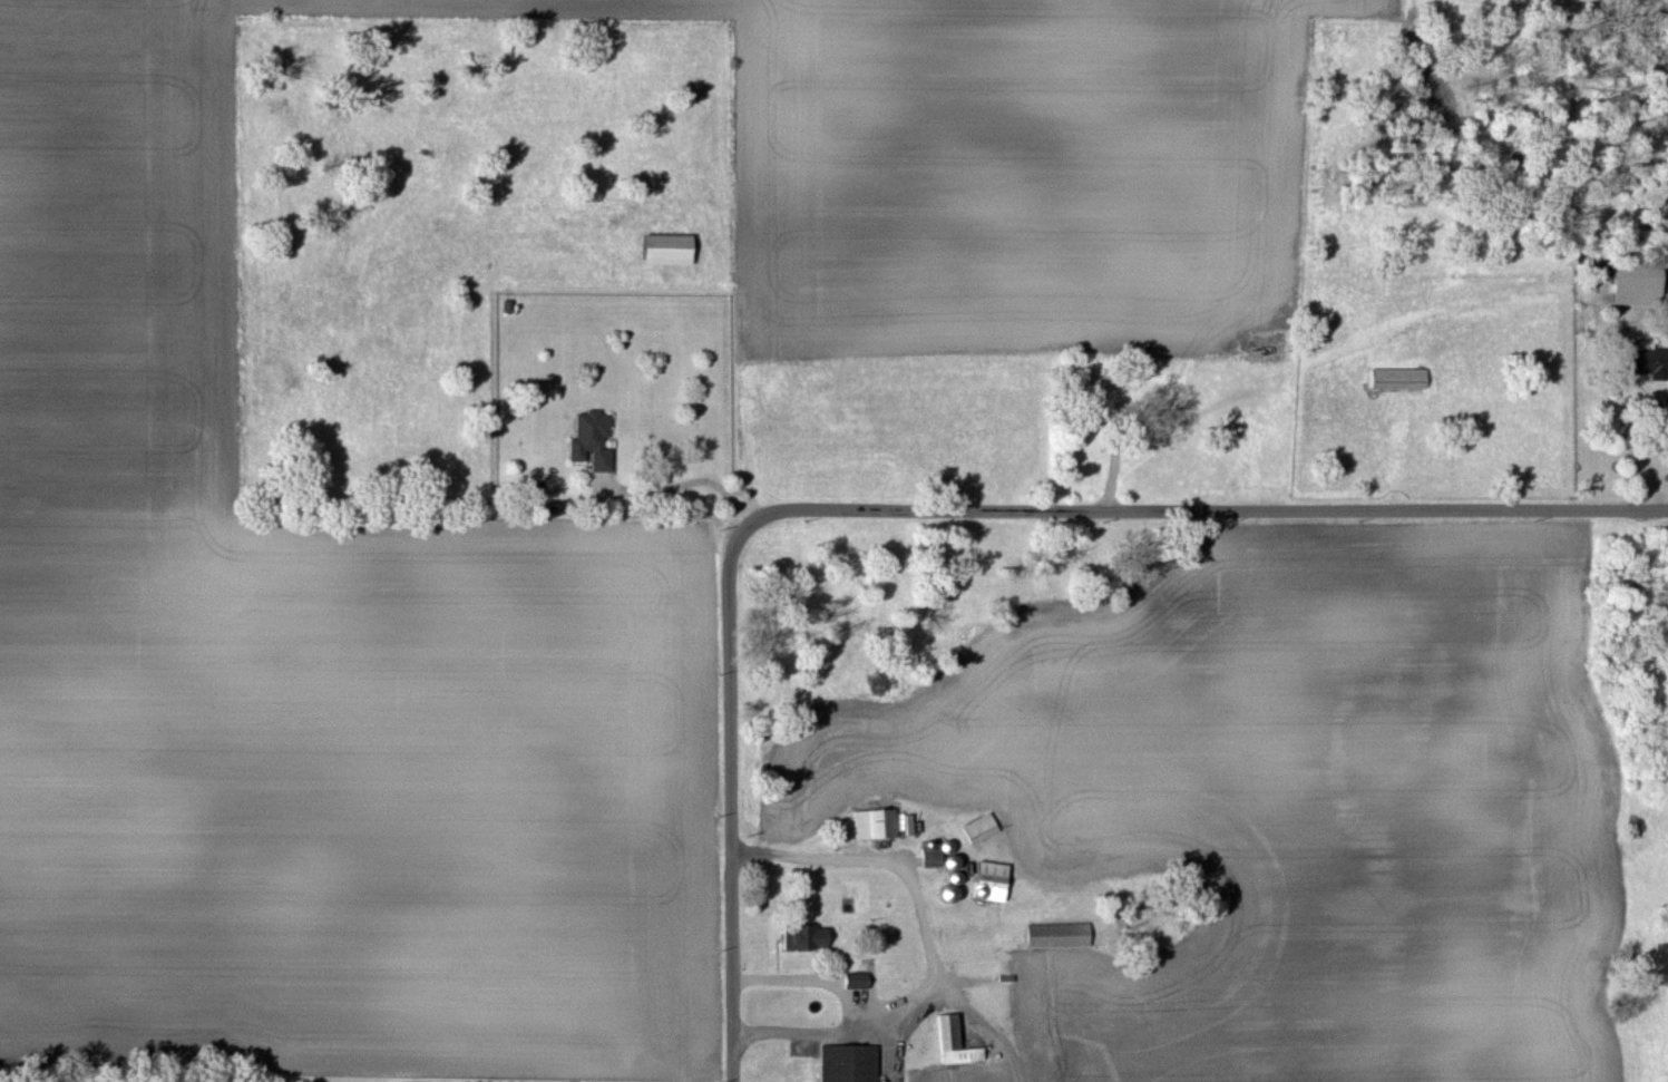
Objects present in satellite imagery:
building: (665, 248)
building: (1635, 282)
building: (1645, 360)
building: (1397, 378)
building: (588, 433)
road: (1641, 454)
road: (1395, 456)
road: (681, 479)
road: (1217, 513)
road: (731, 790)
building: (874, 822)
building: (939, 859)
building: (988, 880)
building: (1056, 934)
building: (803, 937)
road: (930, 949)
road: (799, 978)
building: (855, 979)
building: (954, 1042)
building: (848, 1063)

